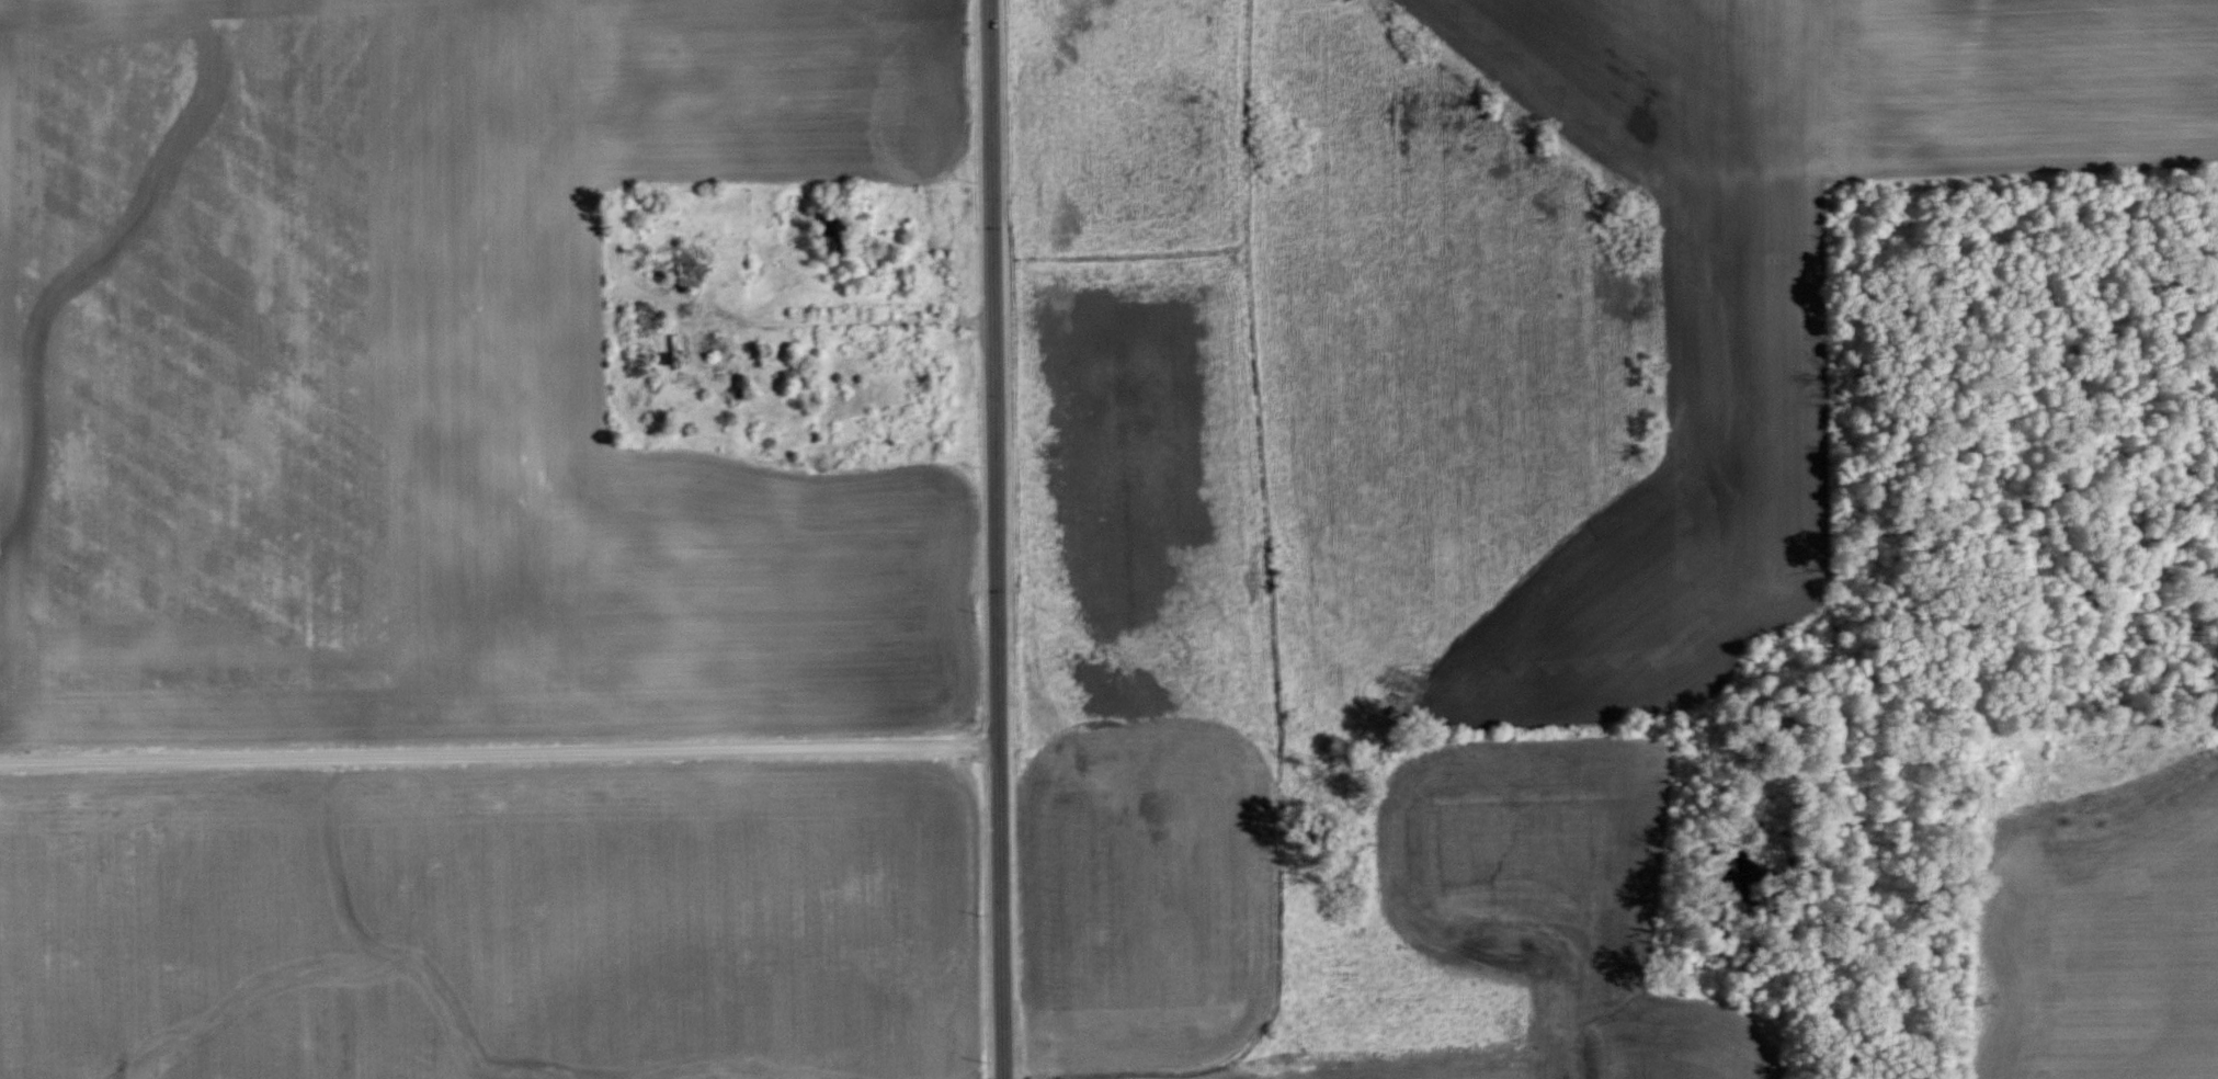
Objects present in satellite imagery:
building: (685, 265)
road: (833, 316)
building: (641, 318)
building: (713, 342)
building: (674, 352)
building: (739, 385)
road: (998, 539)
road: (500, 751)

